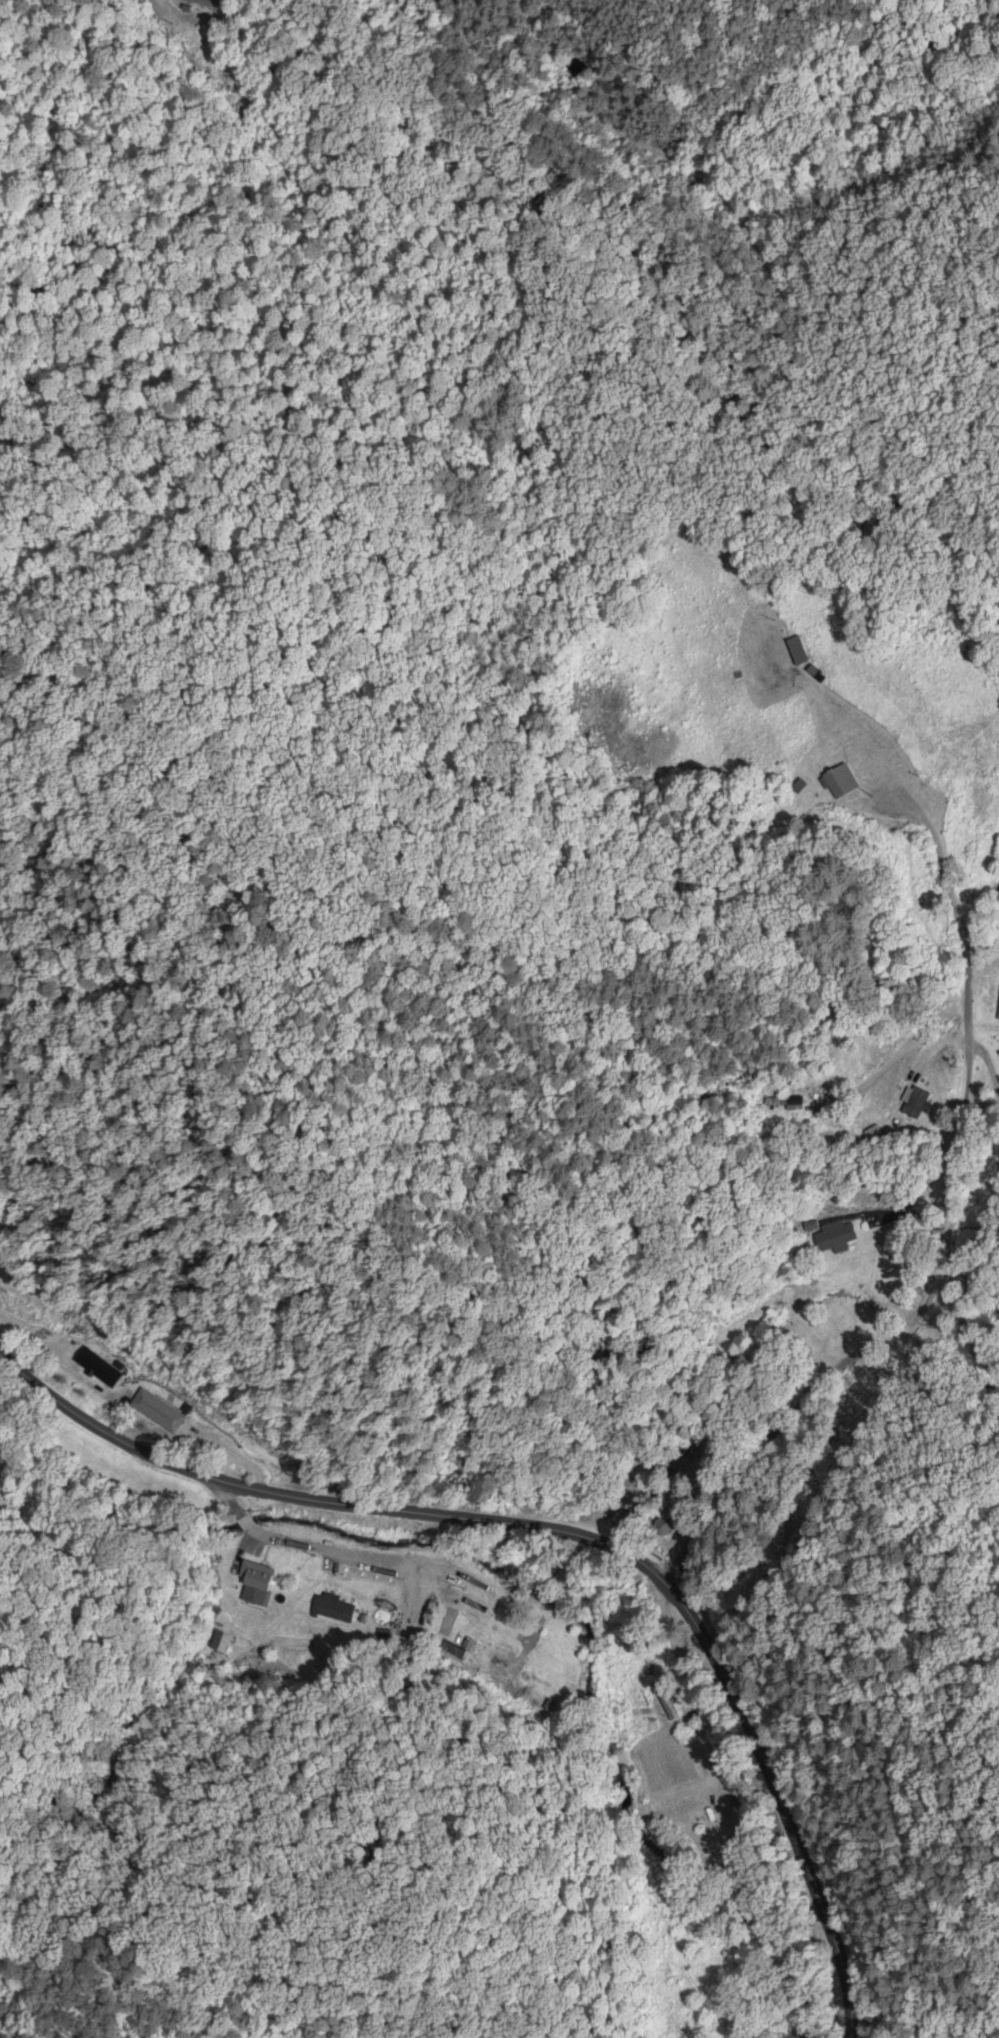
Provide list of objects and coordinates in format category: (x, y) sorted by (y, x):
building: (801, 650)
building: (842, 781)
building: (920, 1103)
road: (948, 1234)
building: (843, 1311)
building: (168, 1417)
road: (565, 1537)
road: (374, 1548)
building: (259, 1586)
building: (336, 1608)

